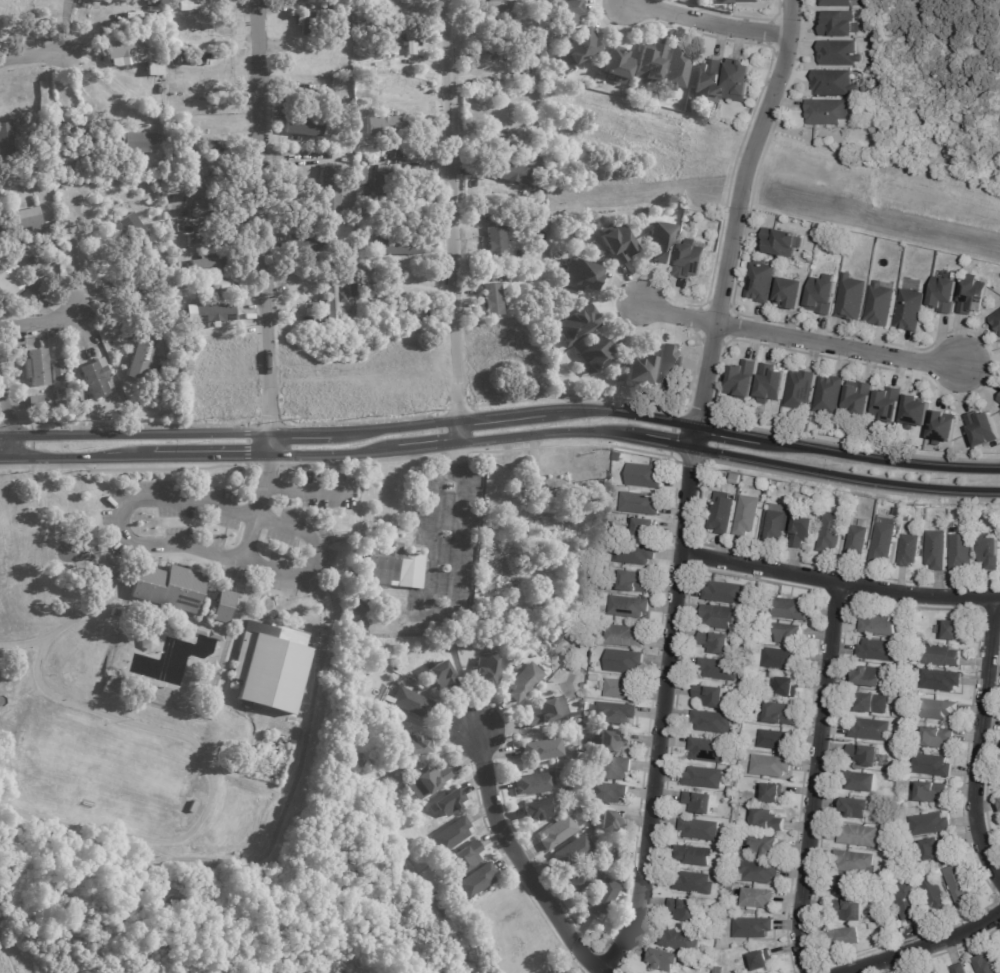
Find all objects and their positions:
building: (741, 2)
building: (838, 3)
building: (504, 5)
building: (201, 6)
building: (536, 7)
building: (327, 8)
building: (396, 9)
building: (568, 13)
road: (709, 21)
building: (310, 23)
building: (840, 26)
building: (412, 39)
building: (504, 39)
building: (578, 48)
road: (36, 53)
building: (839, 54)
building: (132, 56)
building: (190, 56)
building: (524, 56)
building: (170, 61)
building: (650, 63)
building: (524, 66)
building: (617, 66)
building: (677, 69)
building: (532, 79)
building: (708, 80)
building: (737, 83)
building: (632, 84)
building: (834, 84)
building: (113, 86)
building: (625, 94)
building: (307, 97)
building: (689, 104)
building: (830, 114)
building: (303, 123)
building: (77, 124)
building: (382, 127)
building: (53, 129)
building: (115, 130)
building: (542, 133)
building: (7, 139)
building: (137, 141)
building: (513, 142)
building: (544, 146)
park: (613, 147)
building: (73, 160)
building: (533, 161)
building: (150, 172)
building: (509, 173)
building: (13, 175)
building: (196, 176)
building: (361, 177)
building: (352, 178)
building: (327, 182)
building: (84, 184)
building: (64, 186)
building: (376, 190)
road: (735, 209)
road: (978, 210)
building: (163, 217)
building: (539, 218)
building: (22, 220)
road: (448, 222)
road: (265, 227)
building: (176, 228)
building: (48, 230)
building: (135, 231)
building: (205, 240)
building: (306, 243)
building: (782, 243)
building: (395, 244)
building: (662, 244)
building: (496, 245)
building: (617, 245)
building: (51, 246)
building: (154, 258)
building: (541, 258)
building: (691, 262)
building: (207, 264)
building: (175, 267)
building: (498, 274)
building: (580, 276)
building: (201, 282)
building: (16, 283)
road: (109, 283)
building: (761, 283)
building: (220, 284)
road: (425, 289)
building: (354, 290)
building: (216, 291)
building: (791, 294)
building: (376, 296)
building: (945, 296)
building: (822, 298)
building: (975, 298)
building: (851, 299)
building: (332, 300)
building: (176, 301)
building: (492, 301)
building: (880, 306)
building: (403, 312)
building: (910, 312)
building: (211, 314)
building: (996, 321)
road: (38, 324)
building: (575, 324)
road: (799, 340)
building: (593, 353)
building: (140, 358)
building: (669, 367)
building: (36, 369)
building: (57, 372)
building: (640, 372)
building: (744, 378)
building: (96, 380)
building: (771, 384)
building: (801, 390)
building: (76, 396)
building: (830, 396)
building: (860, 399)
building: (58, 400)
building: (999, 400)
building: (35, 405)
building: (889, 405)
building: (916, 413)
road: (502, 416)
road: (9, 420)
building: (944, 429)
building: (983, 430)
road: (502, 439)
building: (924, 446)
building: (618, 456)
building: (645, 476)
building: (736, 477)
road: (261, 485)
building: (562, 485)
road: (298, 489)
building: (802, 490)
building: (517, 498)
building: (639, 504)
building: (900, 512)
building: (722, 513)
building: (747, 515)
building: (907, 518)
building: (565, 524)
building: (775, 526)
road: (454, 528)
building: (643, 528)
building: (953, 528)
building: (802, 531)
building: (831, 532)
building: (585, 535)
road: (120, 537)
building: (883, 540)
building: (857, 541)
building: (909, 550)
building: (936, 550)
building: (961, 552)
building: (990, 552)
building: (634, 553)
road: (313, 558)
building: (393, 567)
building: (603, 572)
building: (633, 581)
road: (839, 582)
building: (165, 587)
building: (723, 592)
building: (400, 597)
building: (370, 600)
building: (219, 606)
building: (628, 607)
building: (788, 609)
road: (78, 615)
road: (324, 617)
building: (718, 617)
building: (878, 624)
building: (599, 630)
building: (955, 631)
building: (789, 633)
building: (625, 636)
road: (22, 642)
building: (715, 642)
building: (919, 645)
building: (878, 650)
building: (558, 654)
building: (941, 657)
building: (782, 659)
building: (514, 661)
building: (623, 661)
building: (397, 665)
building: (269, 666)
building: (717, 669)
building: (485, 670)
building: (442, 676)
building: (868, 677)
building: (594, 679)
building: (940, 680)
building: (524, 682)
building: (582, 686)
building: (787, 687)
building: (621, 689)
building: (906, 690)
park: (161, 691)
building: (750, 693)
building: (710, 696)
building: (412, 702)
road: (663, 702)
building: (873, 704)
building: (939, 709)
building: (547, 711)
building: (348, 712)
building: (616, 713)
building: (780, 714)
building: (897, 714)
building: (572, 716)
building: (739, 717)
building: (711, 722)
building: (871, 730)
building: (936, 737)
road: (980, 739)
building: (773, 740)
building: (612, 741)
building: (414, 745)
building: (582, 748)
building: (544, 749)
building: (707, 750)
building: (865, 755)
building: (742, 756)
building: (931, 765)
building: (770, 766)
building: (611, 768)
building: (558, 775)
building: (703, 778)
road: (813, 778)
road: (210, 780)
building: (429, 781)
building: (859, 782)
building: (534, 784)
building: (731, 789)
building: (931, 792)
building: (606, 793)
building: (773, 793)
building: (730, 797)
building: (999, 801)
building: (448, 803)
building: (558, 803)
building: (699, 803)
building: (856, 808)
building: (538, 810)
building: (610, 821)
building: (767, 821)
building: (929, 825)
building: (699, 830)
building: (558, 832)
building: (452, 835)
building: (858, 836)
building: (765, 846)
building: (930, 850)
building: (573, 852)
building: (693, 856)
building: (466, 857)
building: (617, 859)
building: (723, 860)
road: (208, 861)
road: (525, 862)
building: (854, 862)
building: (758, 873)
building: (582, 877)
building: (908, 877)
building: (476, 881)
building: (693, 883)
building: (959, 884)
park: (375, 887)
building: (729, 887)
building: (848, 887)
building: (935, 896)
building: (603, 898)
building: (756, 900)
building: (440, 904)
building: (908, 905)
building: (683, 910)
building: (849, 911)
building: (715, 925)
building: (873, 926)
building: (753, 928)
building: (713, 934)
building: (840, 937)
road: (915, 938)
building: (680, 941)
building: (665, 960)
building: (763, 961)
building: (985, 965)
park: (909, 968)
building: (959, 969)
building: (718, 970)
building: (547, 972)
building: (555, 972)
building: (932, 972)

